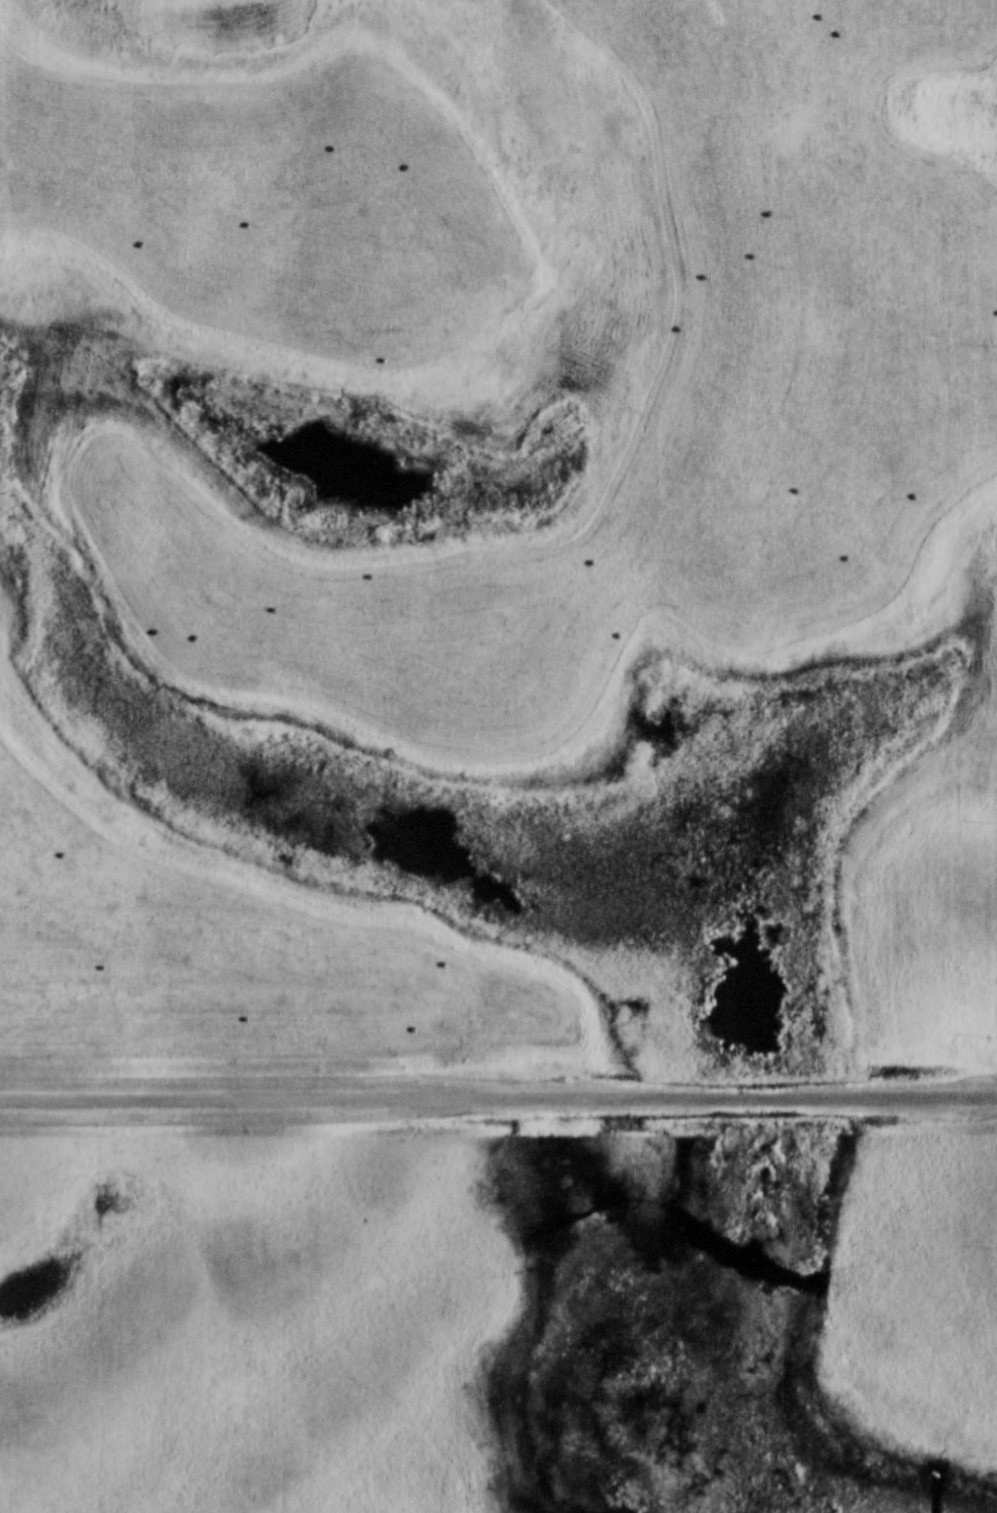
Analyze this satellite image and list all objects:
road: (498, 1098)

